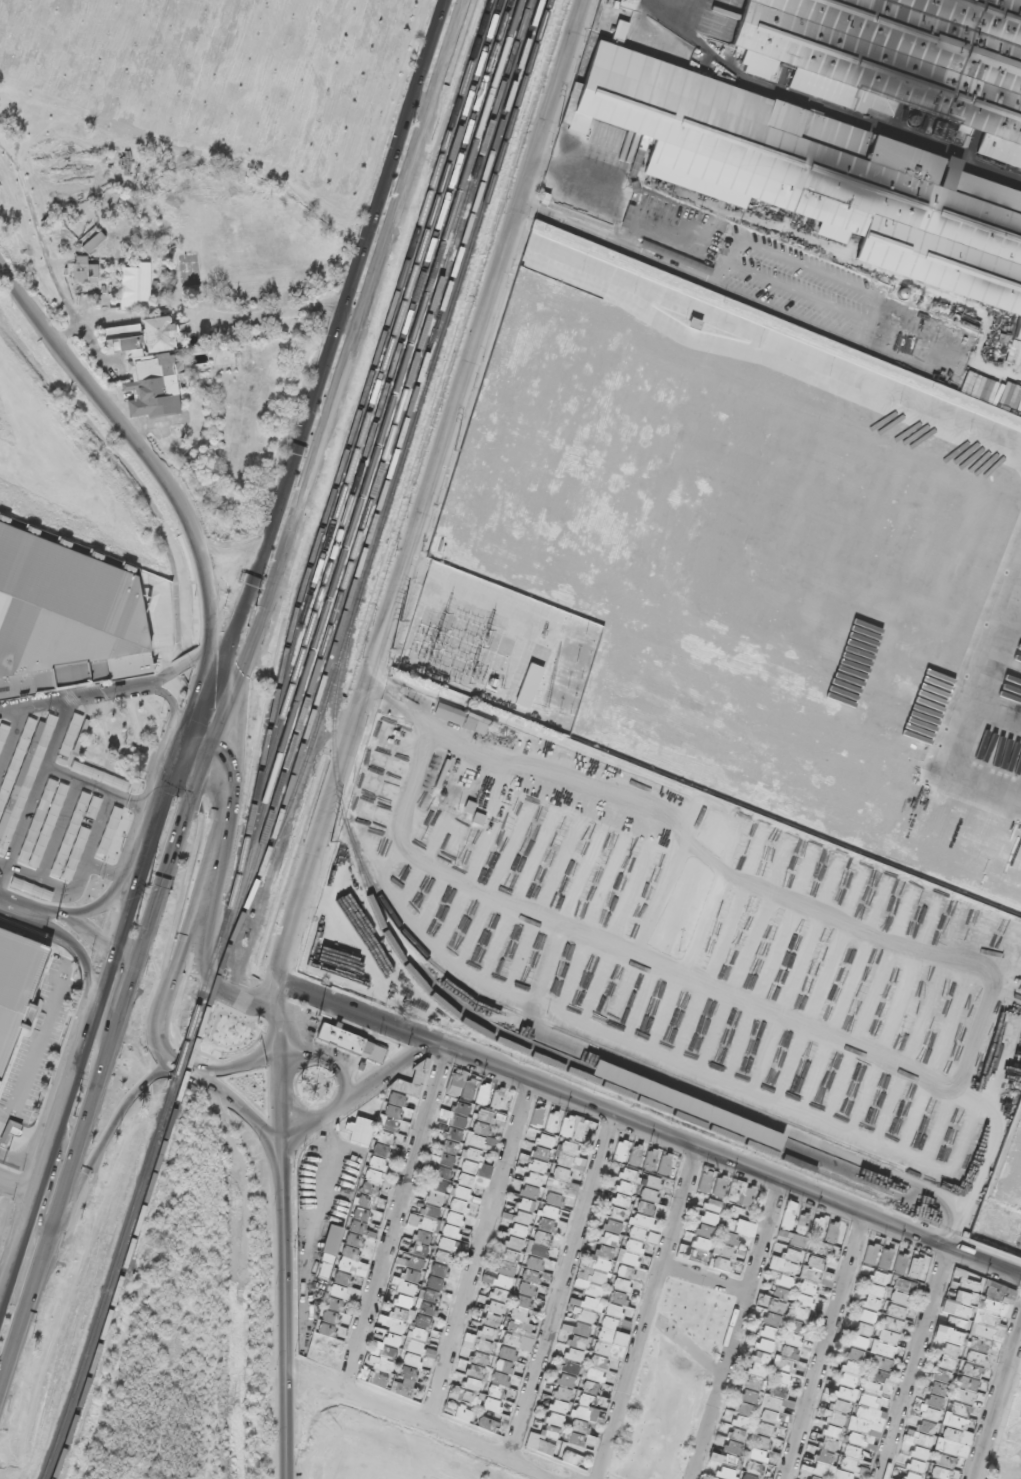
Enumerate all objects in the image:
railway: (401, 415)
railway: (352, 440)
railway: (402, 471)
railway: (373, 529)
road: (222, 641)
road: (228, 688)
road: (280, 1327)

